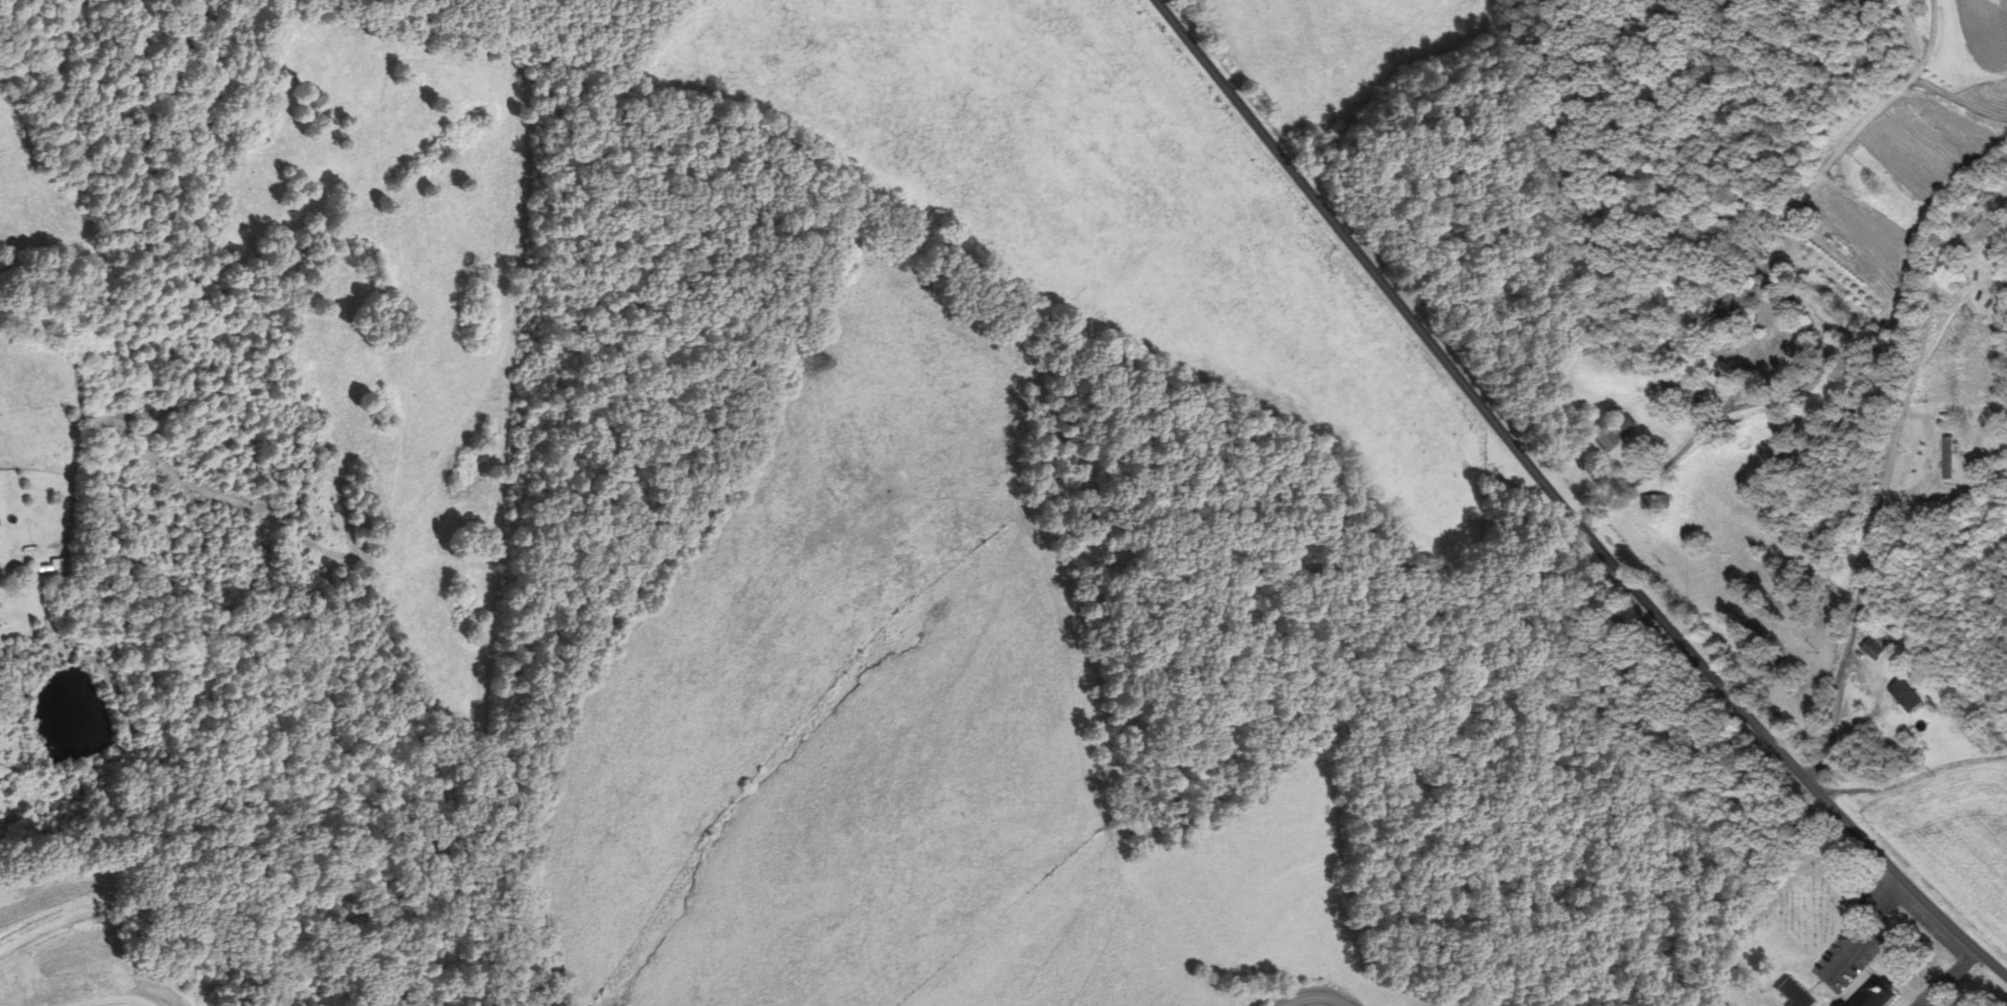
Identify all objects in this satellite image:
road: (1827, 159)
building: (1971, 211)
road: (1948, 248)
building: (1730, 308)
road: (1444, 369)
road: (1702, 427)
building: (1611, 433)
building: (1946, 457)
building: (1650, 501)
road: (1872, 542)
building: (1873, 649)
building: (1904, 695)
road: (1915, 776)
road: (1878, 851)
building: (1792, 994)
building: (1873, 995)
road: (1309, 997)
building: (1842, 1004)

